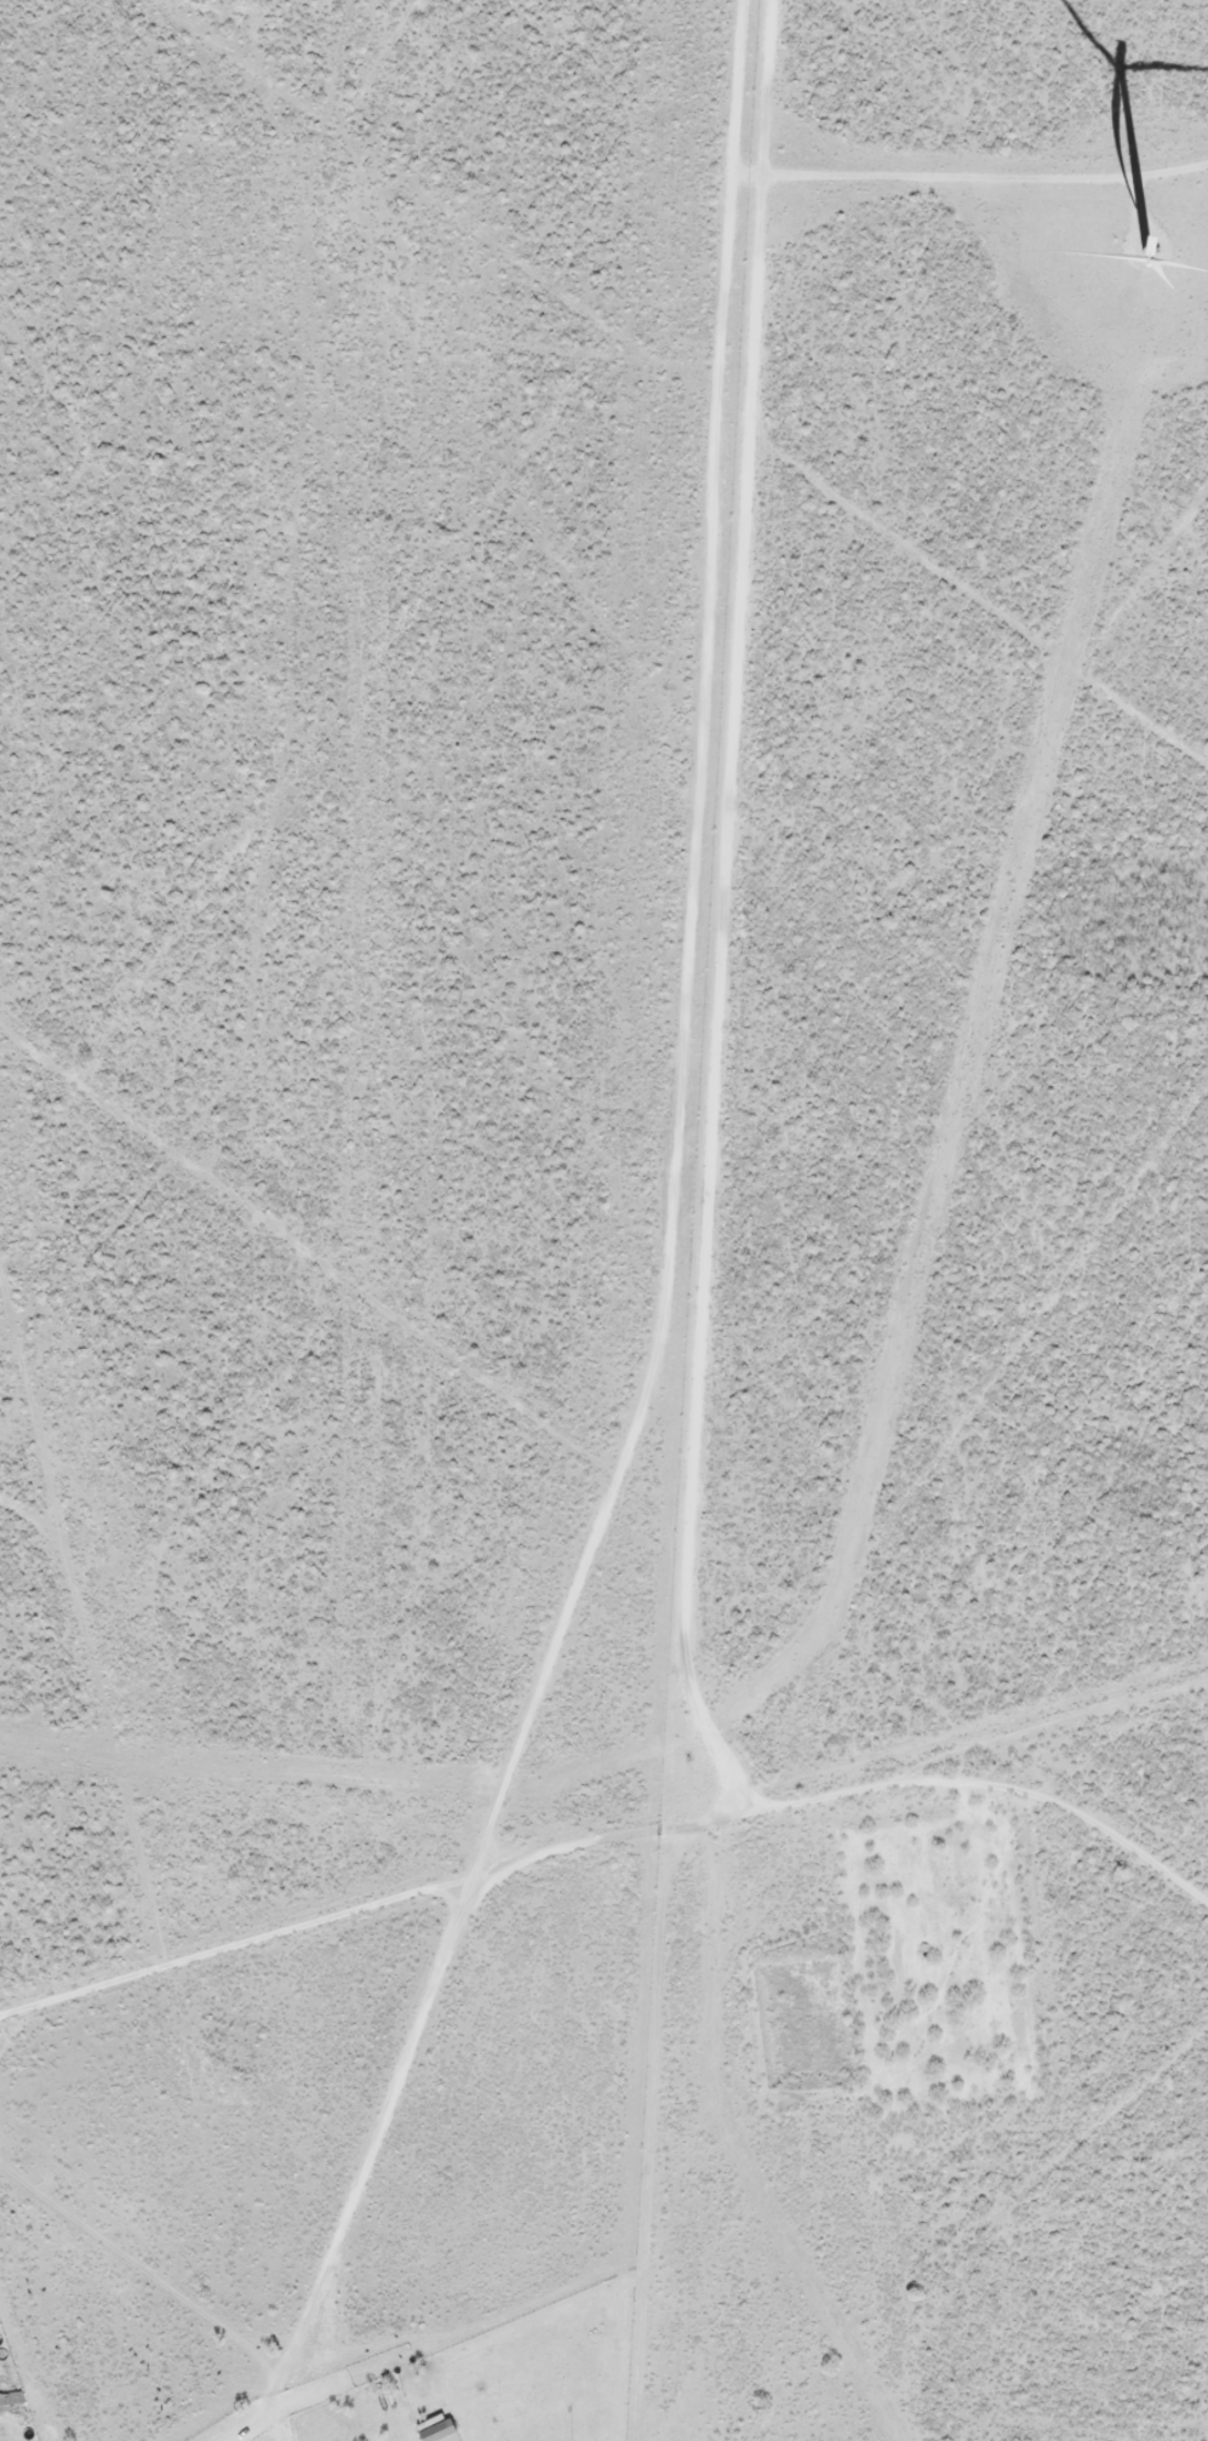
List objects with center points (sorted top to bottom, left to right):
wind turbine: (1128, 267)
road: (687, 1257)
building: (440, 2431)

